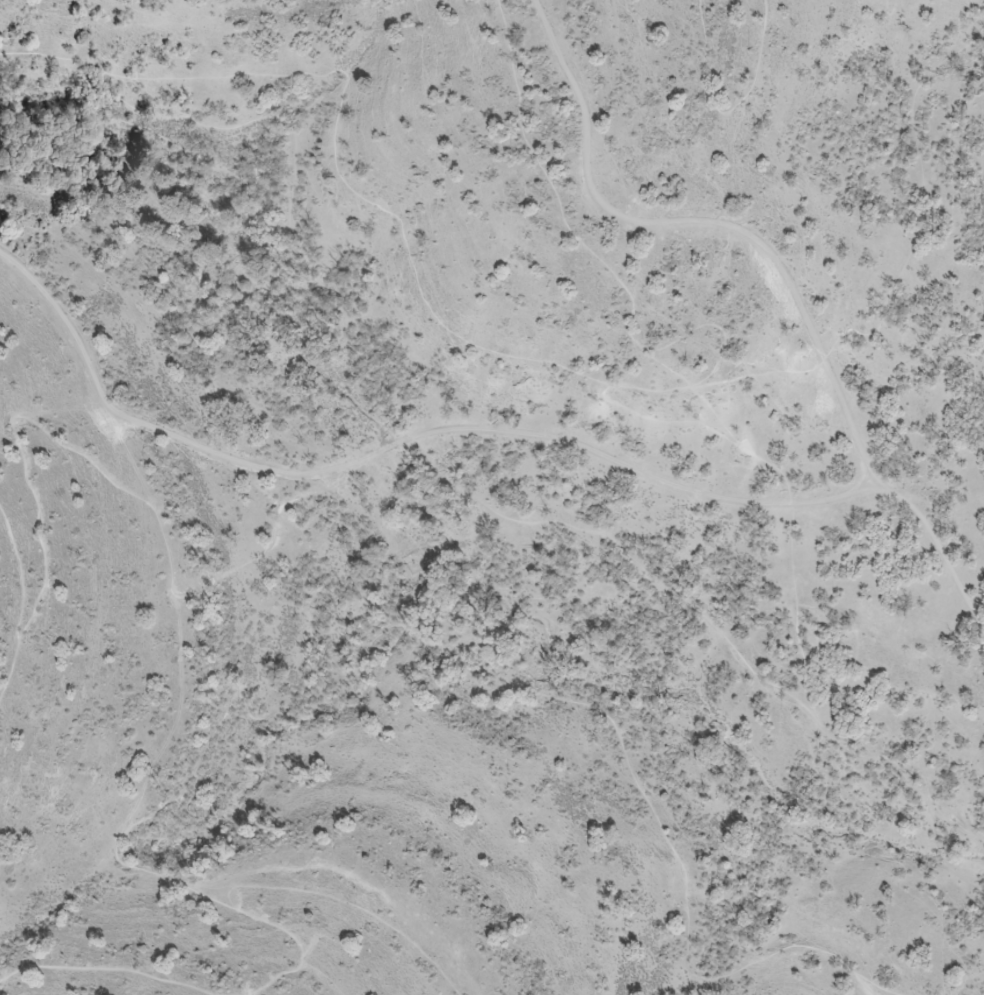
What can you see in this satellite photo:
road: (725, 110)
road: (256, 197)
road: (919, 204)
road: (393, 215)
road: (786, 285)
road: (392, 441)
road: (12, 542)
road: (683, 595)
road: (15, 634)
road: (463, 660)
road: (943, 859)
road: (342, 904)
road: (289, 935)
road: (105, 969)
road: (864, 984)
road: (873, 986)

